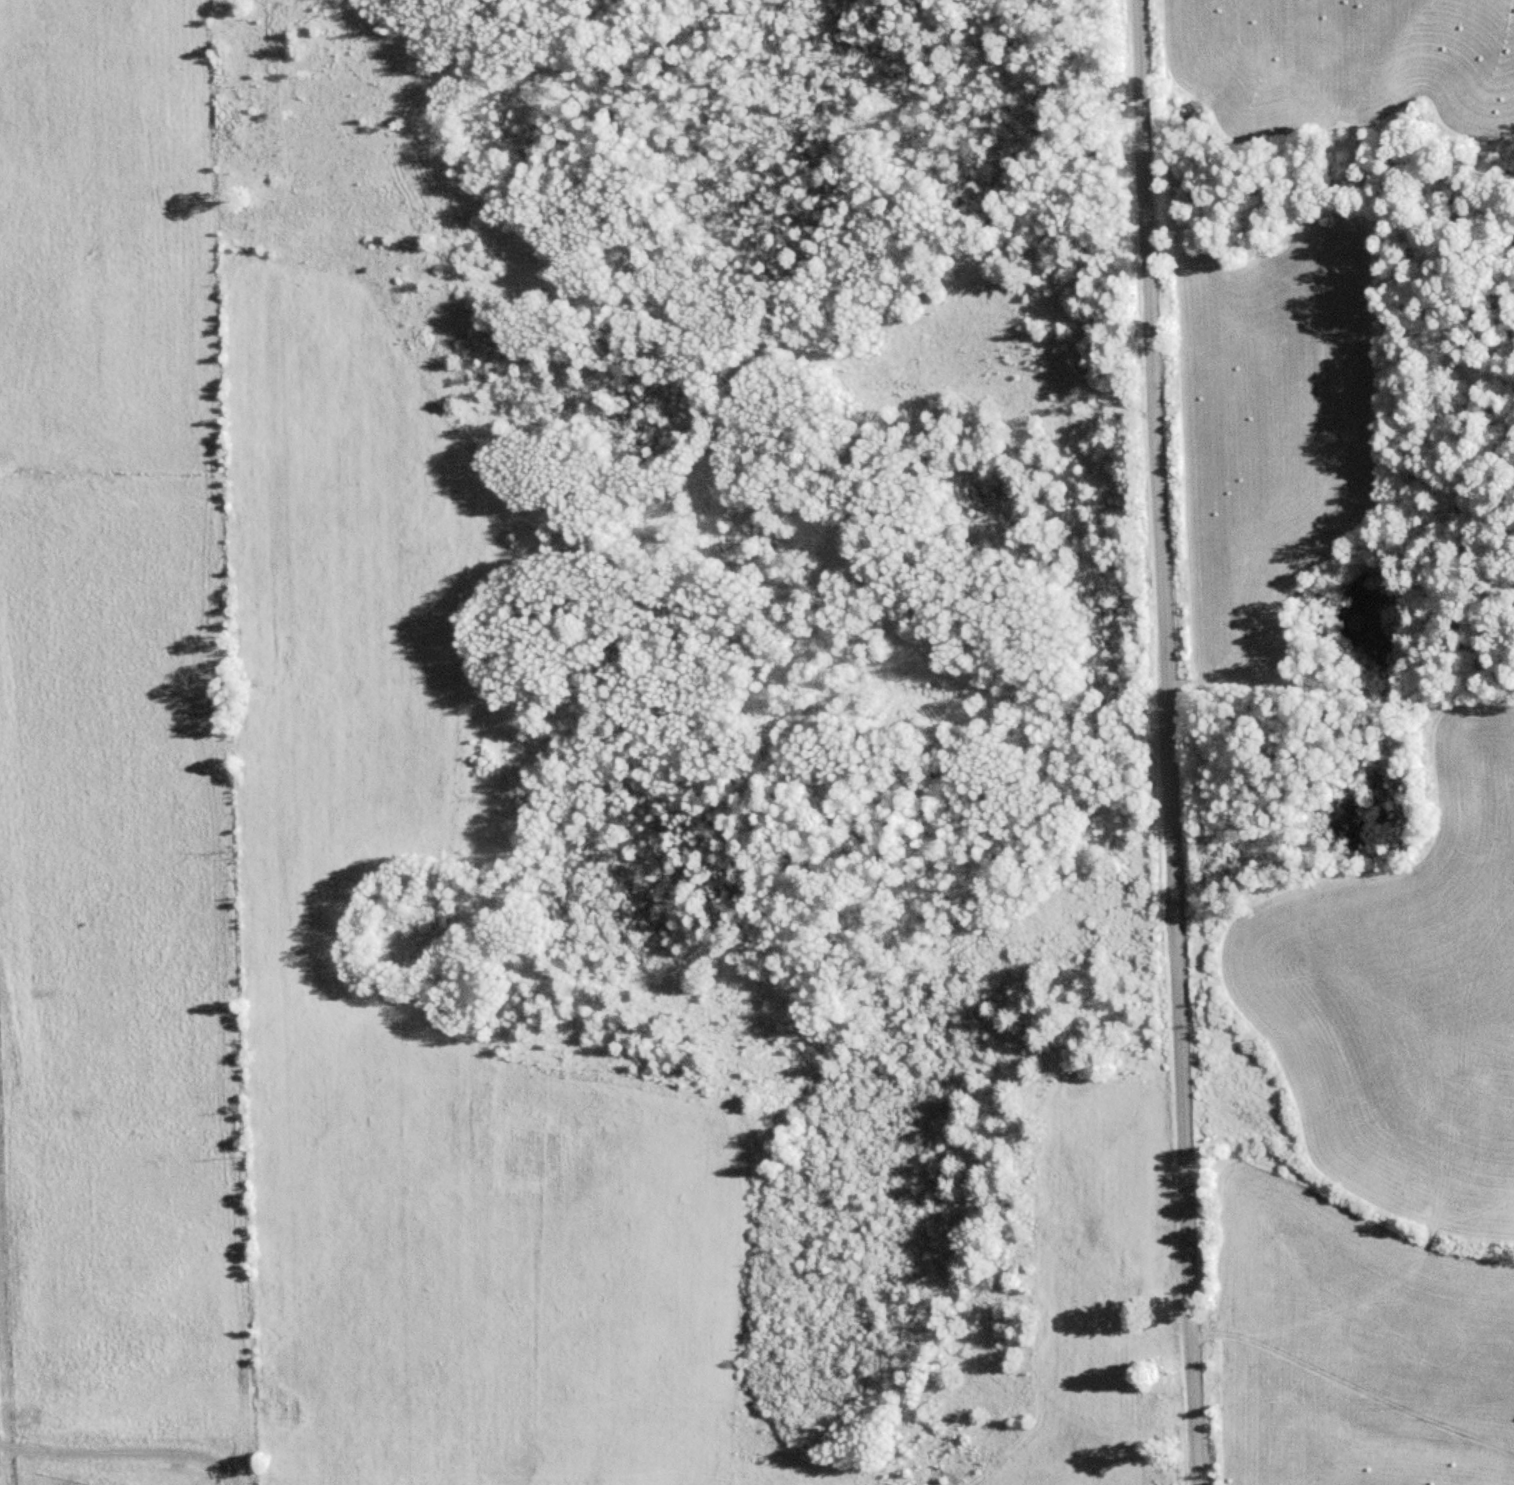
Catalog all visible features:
road: (1163, 742)

